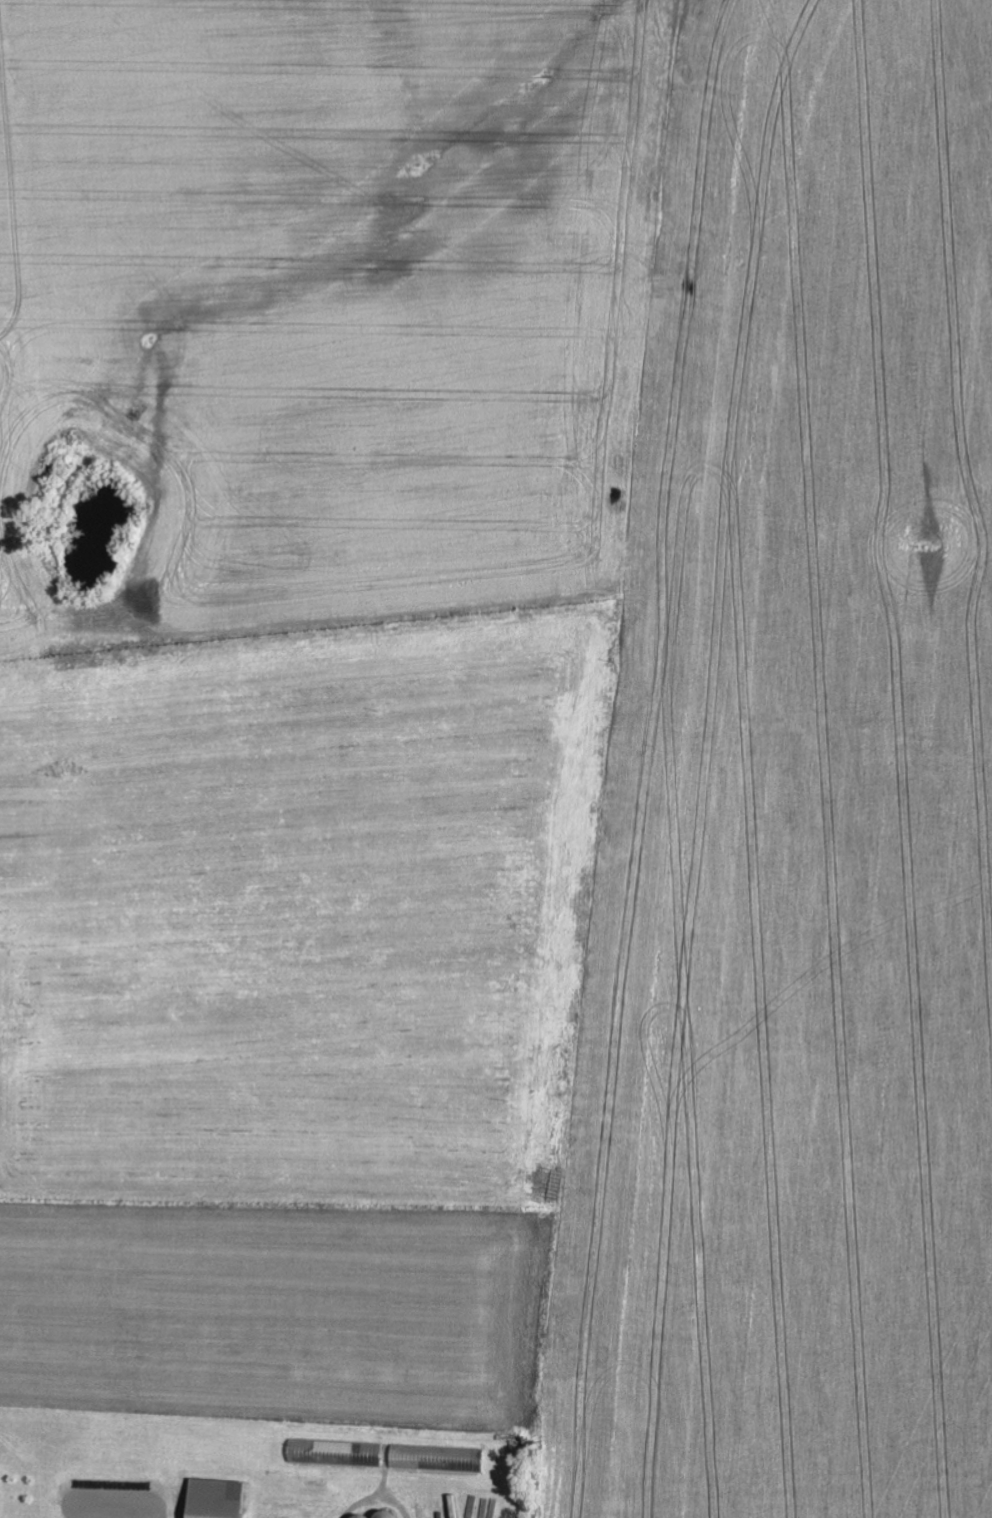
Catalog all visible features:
building: (433, 1459)
building: (212, 1499)

